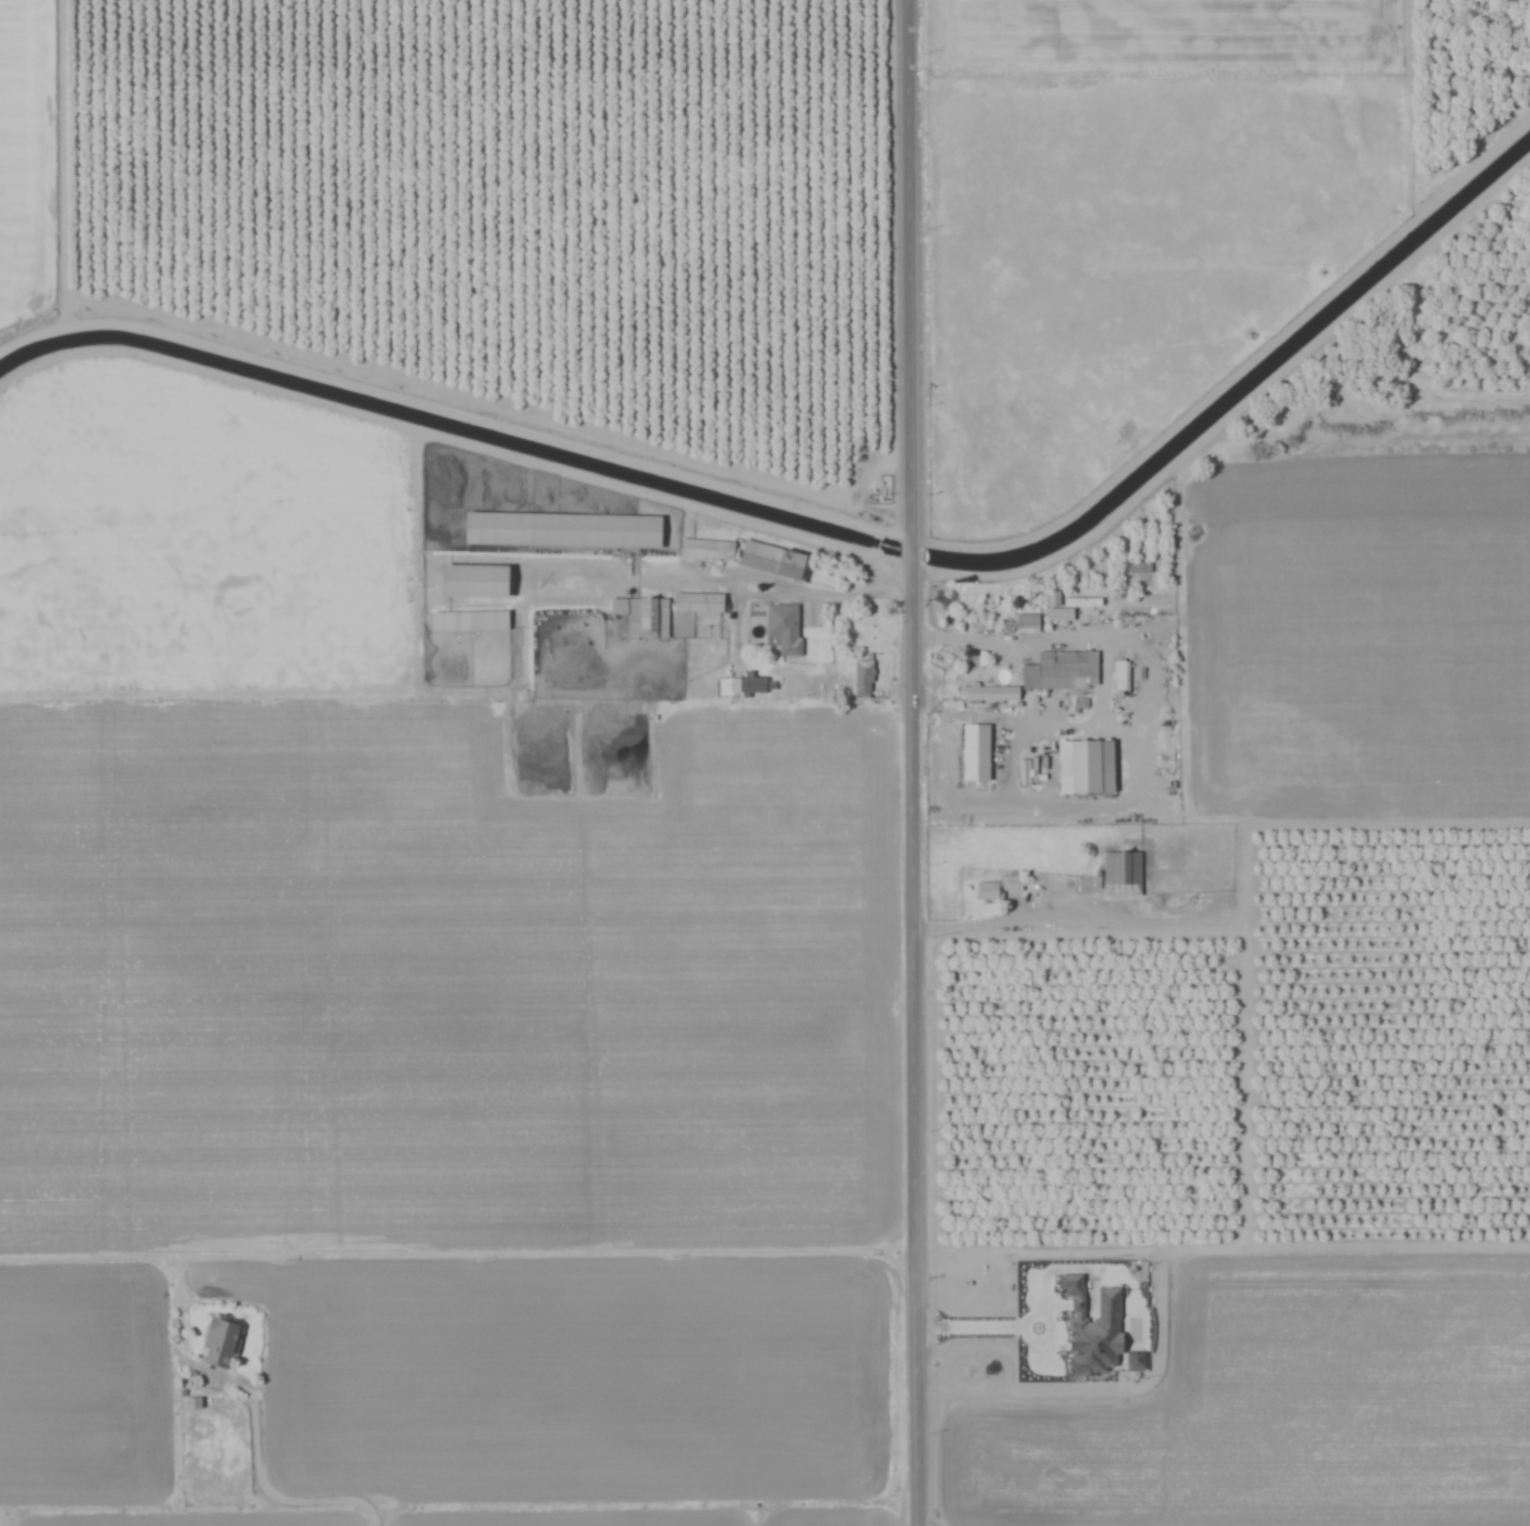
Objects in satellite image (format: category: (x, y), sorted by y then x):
road: (452, 445)
building: (560, 530)
building: (706, 549)
building: (769, 559)
building: (1138, 568)
building: (471, 581)
road: (831, 593)
building: (1052, 598)
building: (696, 602)
building: (654, 618)
building: (467, 621)
building: (1026, 621)
building: (782, 629)
road: (997, 639)
building: (1060, 671)
building: (1120, 676)
building: (862, 679)
building: (746, 687)
road: (333, 693)
building: (988, 694)
road: (940, 708)
building: (974, 753)
road: (914, 762)
building: (1083, 767)
building: (1121, 874)
building: (1042, 880)
building: (996, 888)
road: (1047, 921)
road: (1013, 1324)
building: (221, 1345)
road: (279, 1500)

